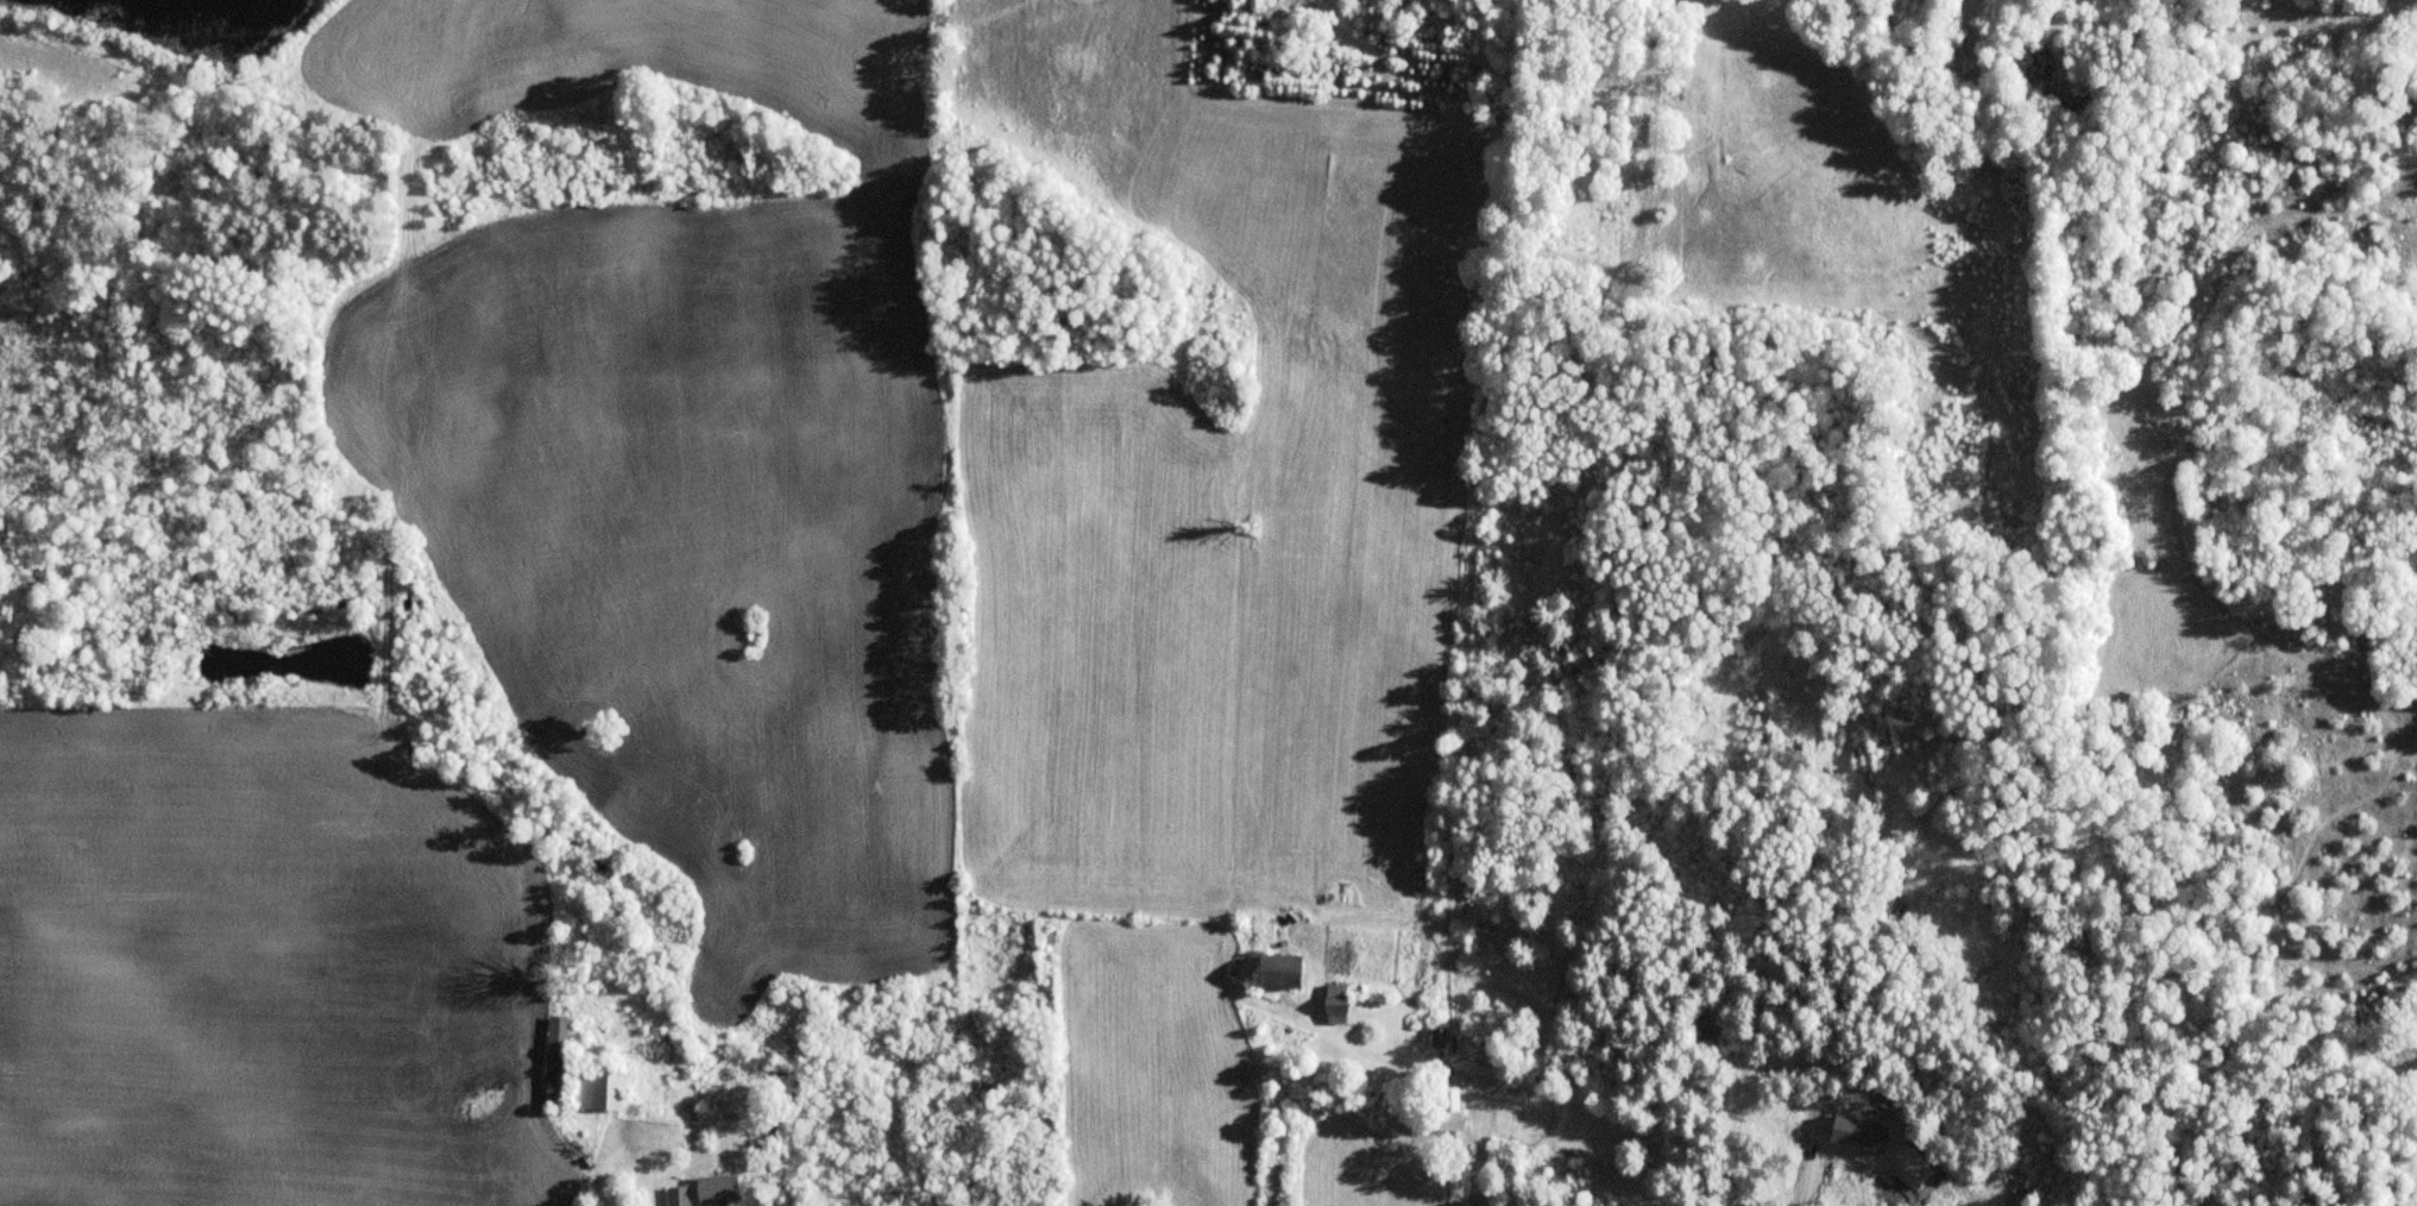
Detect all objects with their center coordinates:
building: (1274, 973)
building: (1332, 1004)
building: (1436, 1038)
building: (553, 1055)
building: (594, 1091)
building: (1443, 1110)
building: (713, 1191)
building: (675, 1198)

